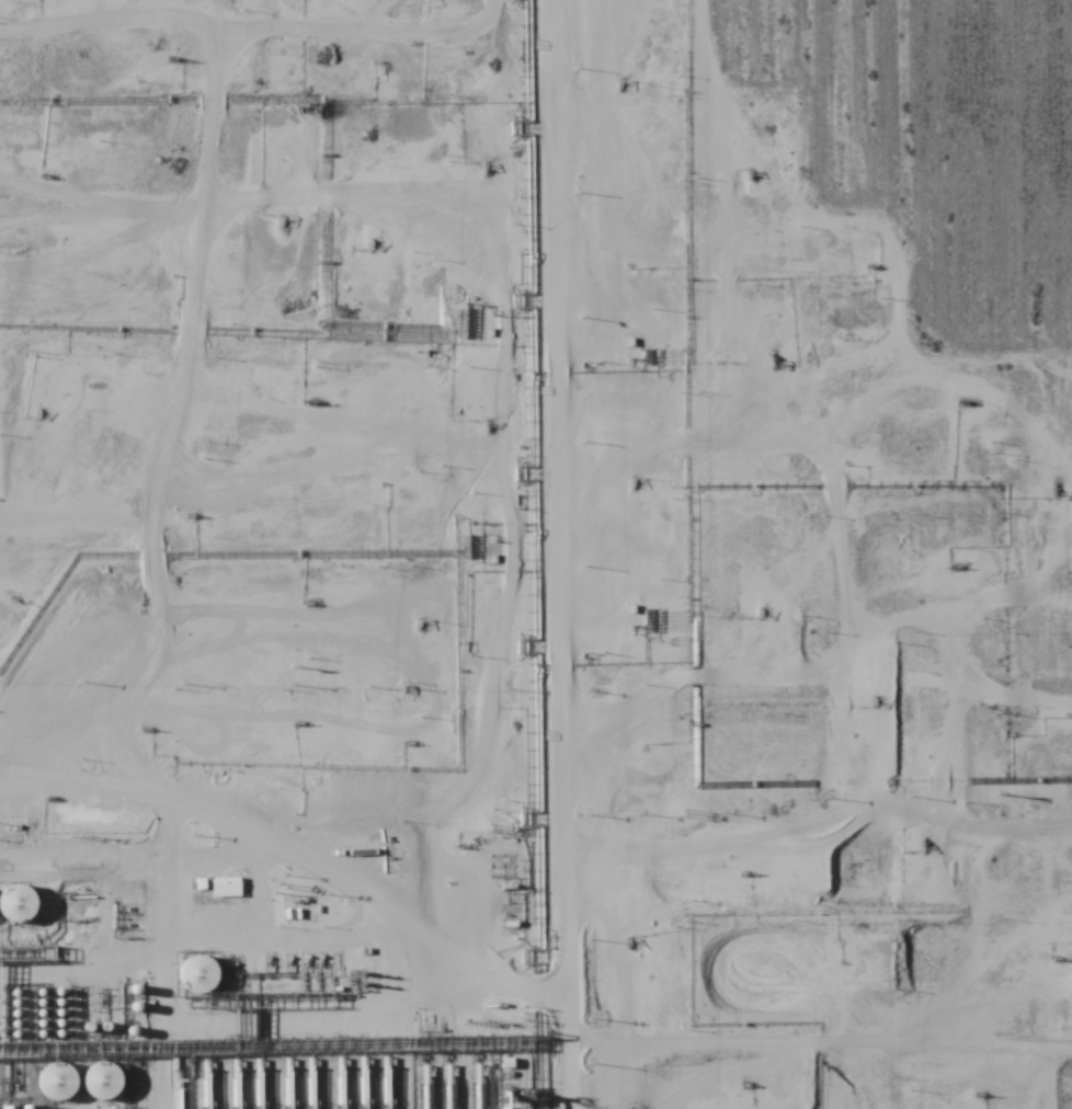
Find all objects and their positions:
road: (335, 890)
building: (21, 902)
building: (199, 973)
building: (103, 1081)
building: (59, 1082)

